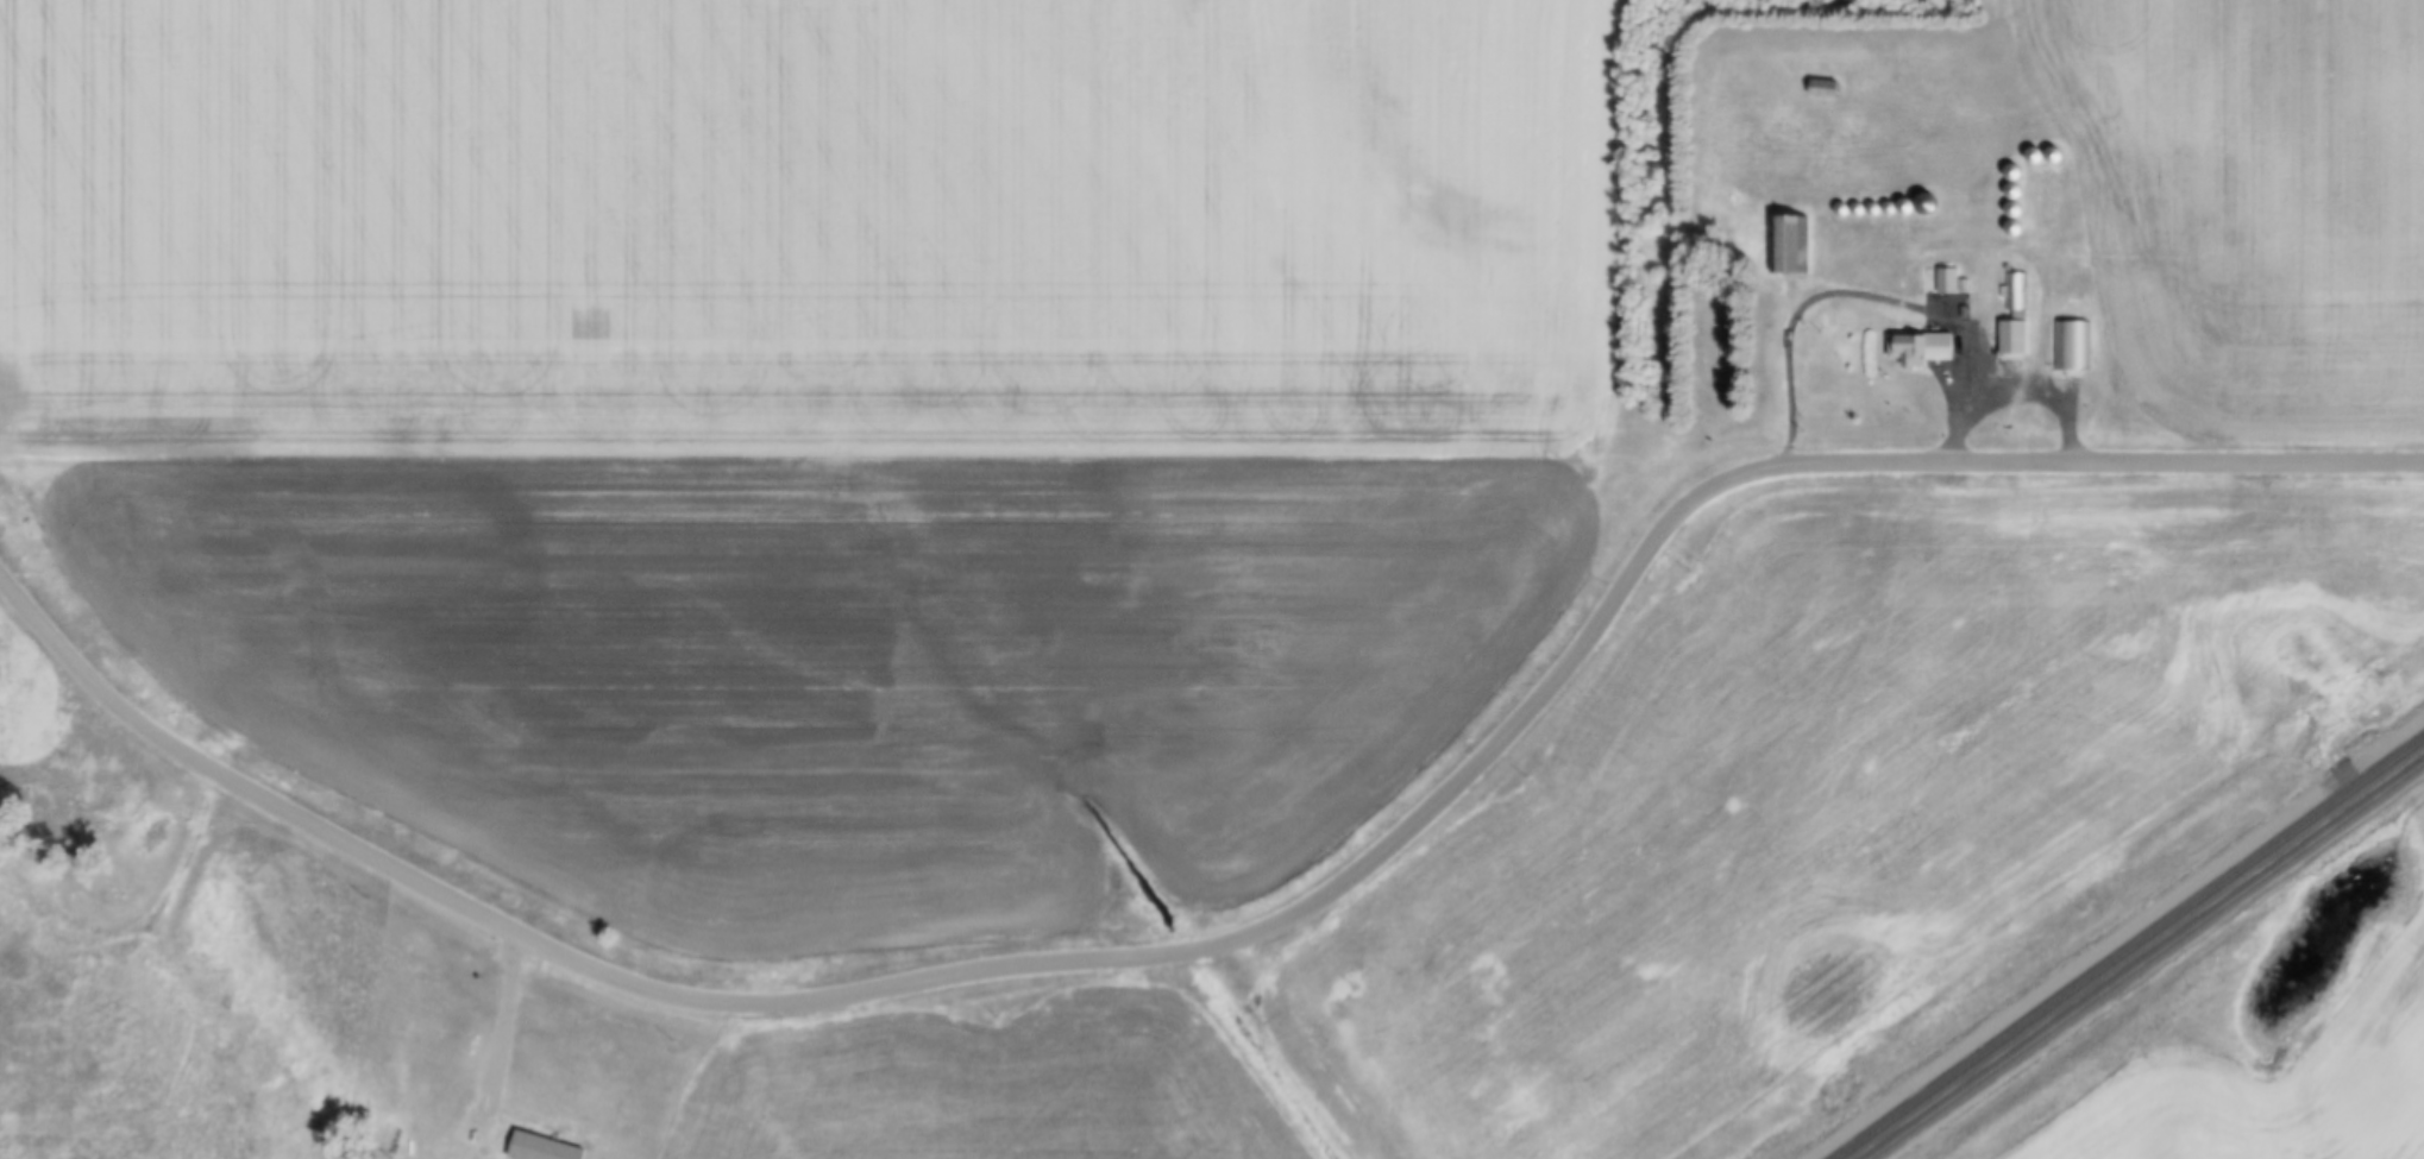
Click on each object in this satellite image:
building: (1826, 88)
building: (1786, 245)
building: (1949, 281)
road: (1891, 301)
building: (2015, 336)
building: (2070, 347)
building: (1923, 348)
road: (1242, 937)
railway: (2131, 951)
railway: (2150, 964)

